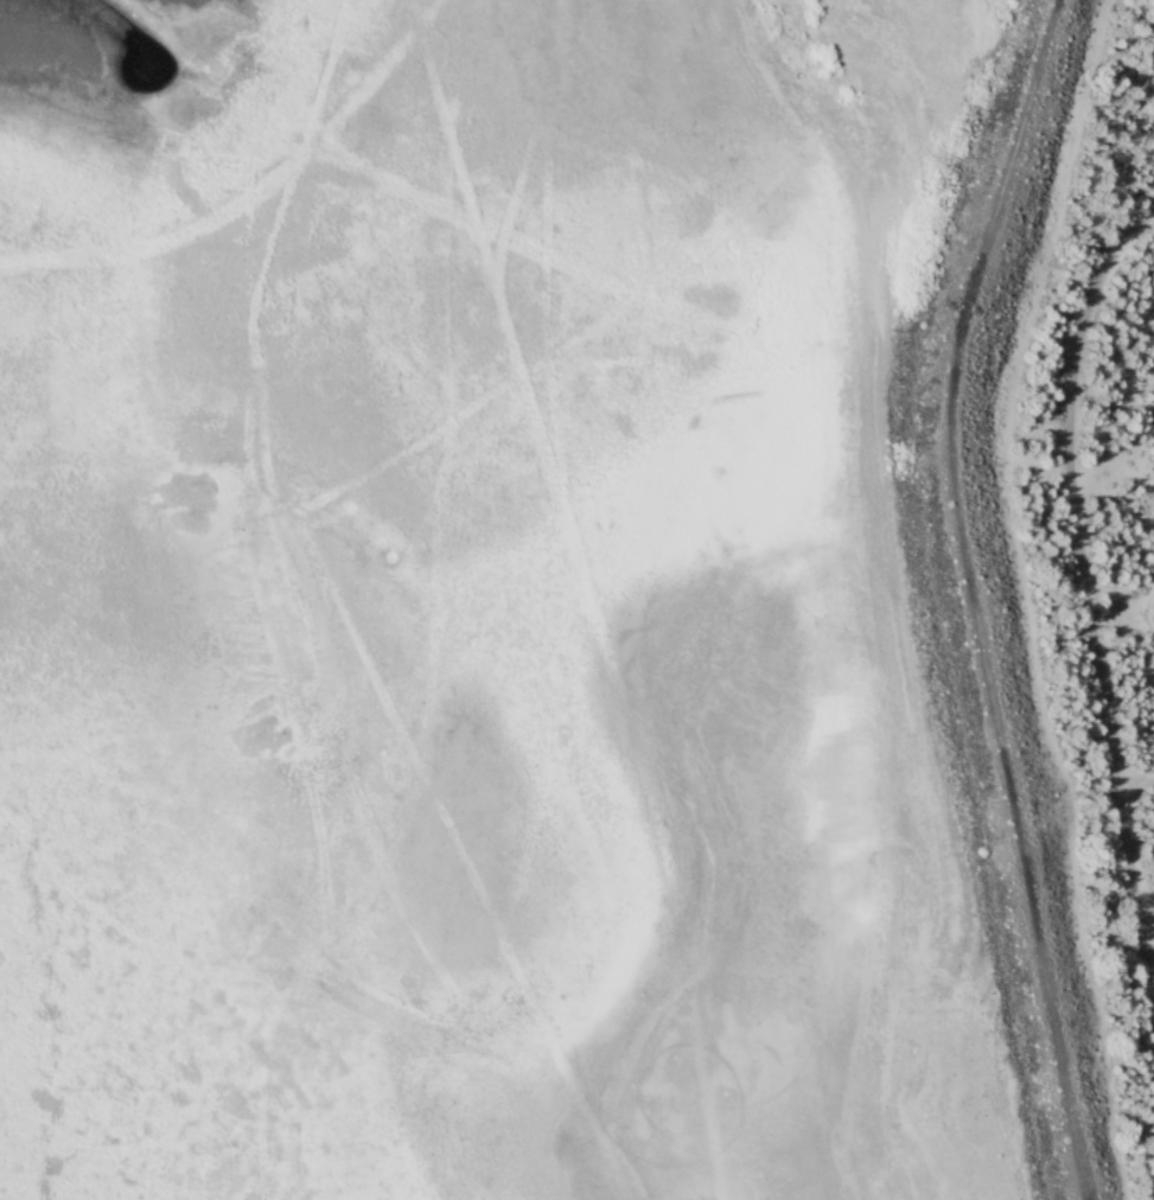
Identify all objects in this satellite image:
road: (1091, 605)

